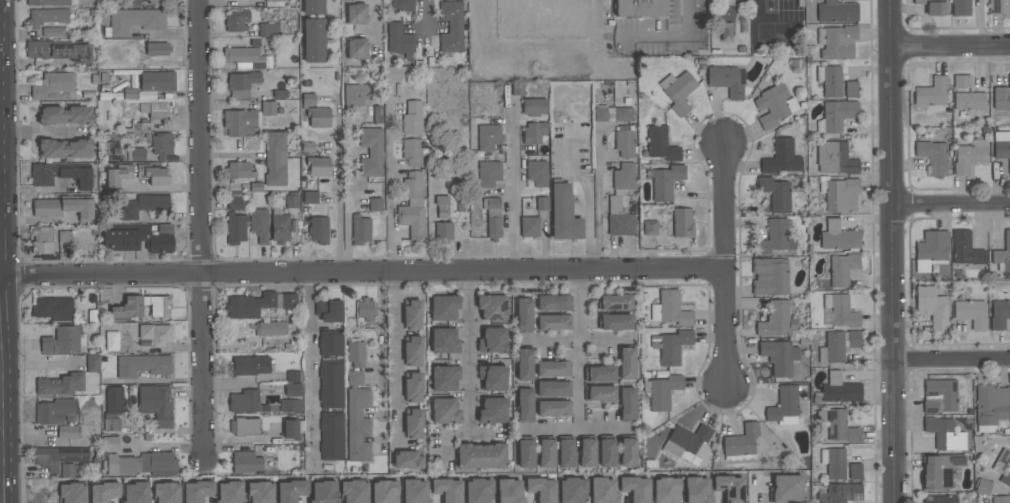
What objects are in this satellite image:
building: (274, 0)
building: (48, 3)
building: (129, 3)
building: (402, 6)
building: (313, 7)
building: (933, 7)
building: (999, 7)
building: (638, 8)
building: (961, 8)
road: (756, 9)
building: (837, 12)
building: (357, 14)
building: (550, 15)
building: (46, 17)
road: (423, 17)
building: (134, 21)
building: (236, 21)
road: (377, 22)
building: (451, 27)
building: (270, 30)
building: (53, 33)
road: (605, 38)
building: (399, 40)
building: (313, 41)
building: (837, 42)
road: (948, 47)
building: (157, 49)
building: (357, 49)
building: (59, 50)
building: (245, 56)
building: (392, 74)
building: (725, 80)
building: (830, 80)
building: (157, 81)
building: (962, 81)
building: (241, 84)
building: (55, 87)
building: (518, 89)
building: (851, 89)
building: (678, 91)
building: (932, 92)
building: (356, 96)
building: (1002, 97)
building: (969, 101)
building: (774, 105)
building: (268, 108)
building: (534, 108)
building: (155, 109)
building: (613, 114)
building: (64, 115)
building: (107, 115)
building: (836, 115)
building: (318, 117)
building: (412, 118)
building: (240, 123)
building: (534, 133)
road: (39, 134)
building: (488, 137)
building: (624, 144)
building: (660, 144)
building: (162, 145)
building: (1002, 146)
building: (65, 148)
building: (414, 151)
building: (371, 152)
building: (136, 154)
building: (970, 156)
building: (555, 157)
building: (933, 157)
building: (781, 158)
building: (835, 158)
building: (275, 159)
building: (318, 167)
building: (238, 170)
building: (537, 173)
building: (62, 174)
building: (488, 174)
building: (118, 175)
building: (154, 175)
building: (623, 179)
road: (390, 181)
building: (664, 182)
road: (514, 187)
road: (152, 188)
road: (350, 194)
building: (776, 194)
building: (840, 195)
building: (310, 197)
road: (588, 197)
building: (292, 202)
building: (234, 203)
road: (600, 203)
building: (542, 204)
building: (375, 205)
building: (142, 206)
building: (412, 206)
building: (441, 206)
building: (63, 208)
road: (949, 209)
building: (564, 214)
building: (492, 218)
building: (619, 219)
building: (682, 223)
building: (259, 225)
building: (279, 226)
building: (529, 227)
building: (236, 228)
building: (650, 228)
road: (201, 230)
building: (318, 230)
building: (360, 230)
building: (443, 231)
building: (838, 236)
building: (64, 237)
building: (775, 238)
building: (135, 239)
building: (42, 240)
building: (965, 249)
building: (931, 250)
road: (889, 251)
building: (1002, 255)
road: (726, 266)
building: (842, 269)
road: (363, 274)
building: (770, 276)
building: (554, 303)
building: (615, 303)
building: (259, 305)
building: (492, 307)
building: (932, 307)
building: (53, 308)
building: (140, 308)
building: (444, 308)
building: (670, 309)
building: (365, 310)
building: (329, 311)
building: (840, 311)
building: (971, 313)
building: (411, 314)
building: (999, 314)
building: (523, 315)
building: (776, 320)
building: (614, 322)
building: (553, 323)
building: (270, 329)
building: (155, 334)
building: (853, 339)
building: (63, 340)
building: (444, 341)
building: (492, 341)
building: (330, 343)
building: (671, 346)
building: (833, 348)
building: (412, 351)
road: (580, 351)
building: (355, 354)
road: (474, 354)
road: (950, 356)
building: (779, 357)
road: (380, 360)
road: (398, 360)
building: (92, 363)
building: (626, 363)
building: (524, 364)
road: (42, 365)
building: (142, 365)
building: (248, 366)
building: (553, 369)
road: (313, 370)
building: (599, 374)
building: (292, 377)
building: (355, 378)
building: (445, 378)
building: (492, 378)
building: (331, 384)
building: (61, 385)
building: (412, 387)
building: (553, 389)
building: (293, 390)
building: (840, 390)
building: (662, 392)
building: (600, 394)
building: (939, 396)
building: (246, 402)
building: (156, 404)
building: (627, 404)
building: (525, 405)
building: (291, 406)
building: (784, 407)
building: (990, 407)
building: (113, 408)
building: (553, 408)
building: (493, 410)
building: (54, 411)
building: (445, 411)
building: (413, 424)
building: (244, 426)
building: (358, 426)
building: (841, 427)
building: (293, 428)
road: (579, 430)
building: (67, 432)
building: (944, 434)
road: (460, 435)
building: (331, 436)
building: (685, 442)
building: (111, 444)
building: (741, 444)
building: (587, 451)
building: (627, 451)
building: (525, 452)
building: (546, 452)
building: (566, 452)
building: (607, 452)
road: (0, 453)
building: (481, 456)
building: (58, 457)
building: (408, 460)
building: (246, 463)
building: (834, 463)
building: (157, 464)
building: (121, 465)
building: (1003, 467)
building: (68, 470)
building: (940, 471)
road: (0, 472)
building: (854, 472)
building: (983, 487)
building: (635, 488)
building: (729, 488)
building: (785, 488)
building: (541, 489)
building: (291, 490)
building: (447, 490)
building: (572, 490)
building: (602, 490)
building: (666, 490)
building: (697, 490)
building: (197, 491)
building: (353, 491)
building: (415, 491)
building: (478, 491)
building: (509, 491)
building: (103, 492)
building: (229, 492)
building: (260, 492)
building: (323, 492)
building: (384, 492)
building: (72, 493)
building: (135, 493)
building: (166, 493)
building: (840, 493)
building: (940, 499)
building: (1000, 499)

